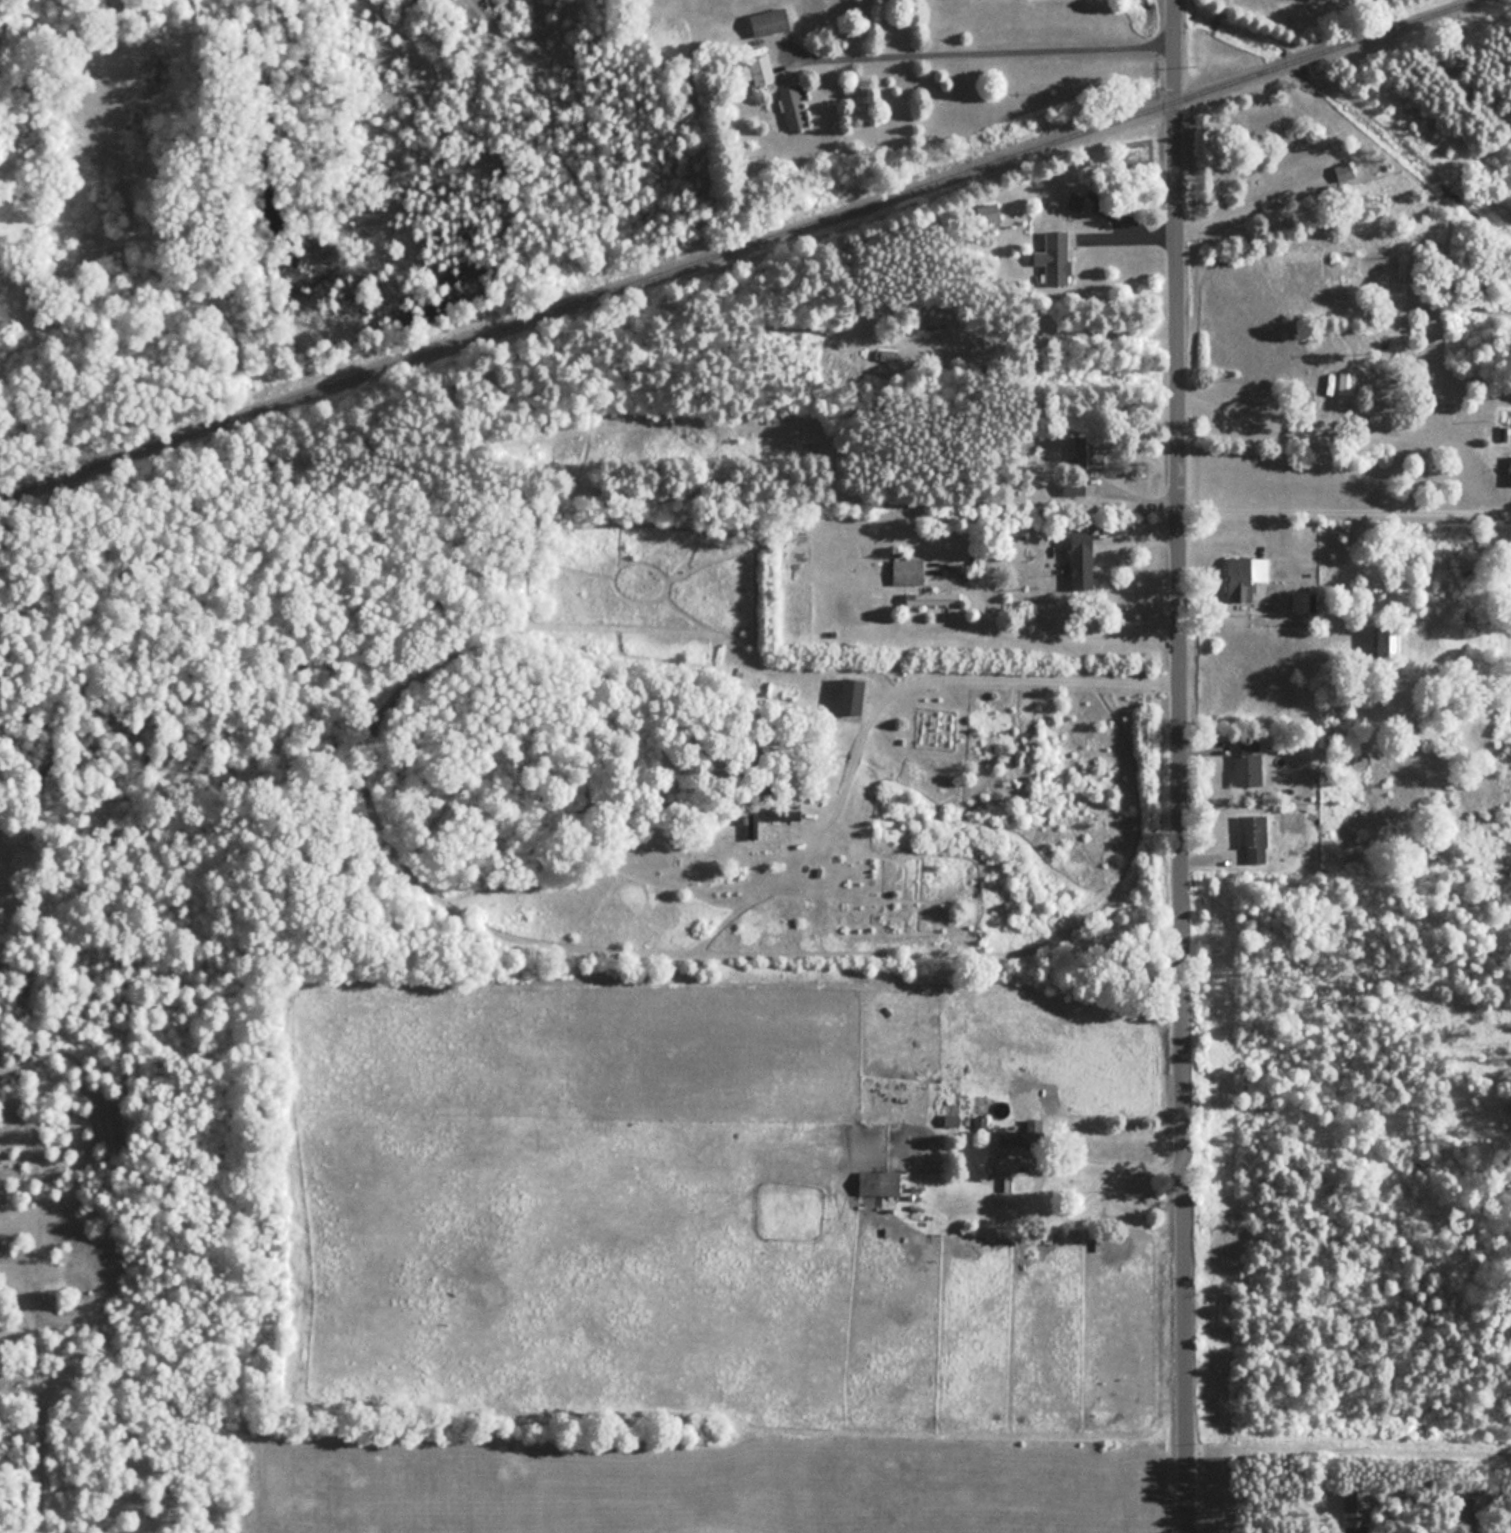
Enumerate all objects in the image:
building: (770, 20)
road: (992, 49)
building: (761, 69)
building: (793, 105)
road: (175, 129)
building: (77, 133)
building: (1317, 166)
building: (1076, 200)
building: (990, 212)
railway: (745, 248)
building: (1054, 258)
building: (936, 328)
building: (817, 338)
building: (1346, 388)
road: (1248, 414)
building: (790, 444)
building: (1086, 452)
building: (1509, 470)
building: (1074, 485)
road: (1344, 499)
building: (1356, 542)
building: (1082, 559)
building: (908, 566)
building: (1245, 576)
building: (933, 597)
building: (1302, 601)
road: (1044, 635)
building: (1390, 639)
building: (854, 696)
building: (1309, 752)
building: (1248, 764)
road: (1179, 766)
building: (752, 826)
building: (1254, 837)
building: (1026, 1133)
building: (1007, 1162)
road: (1110, 1164)
building: (880, 1182)
building: (1353, 1506)

